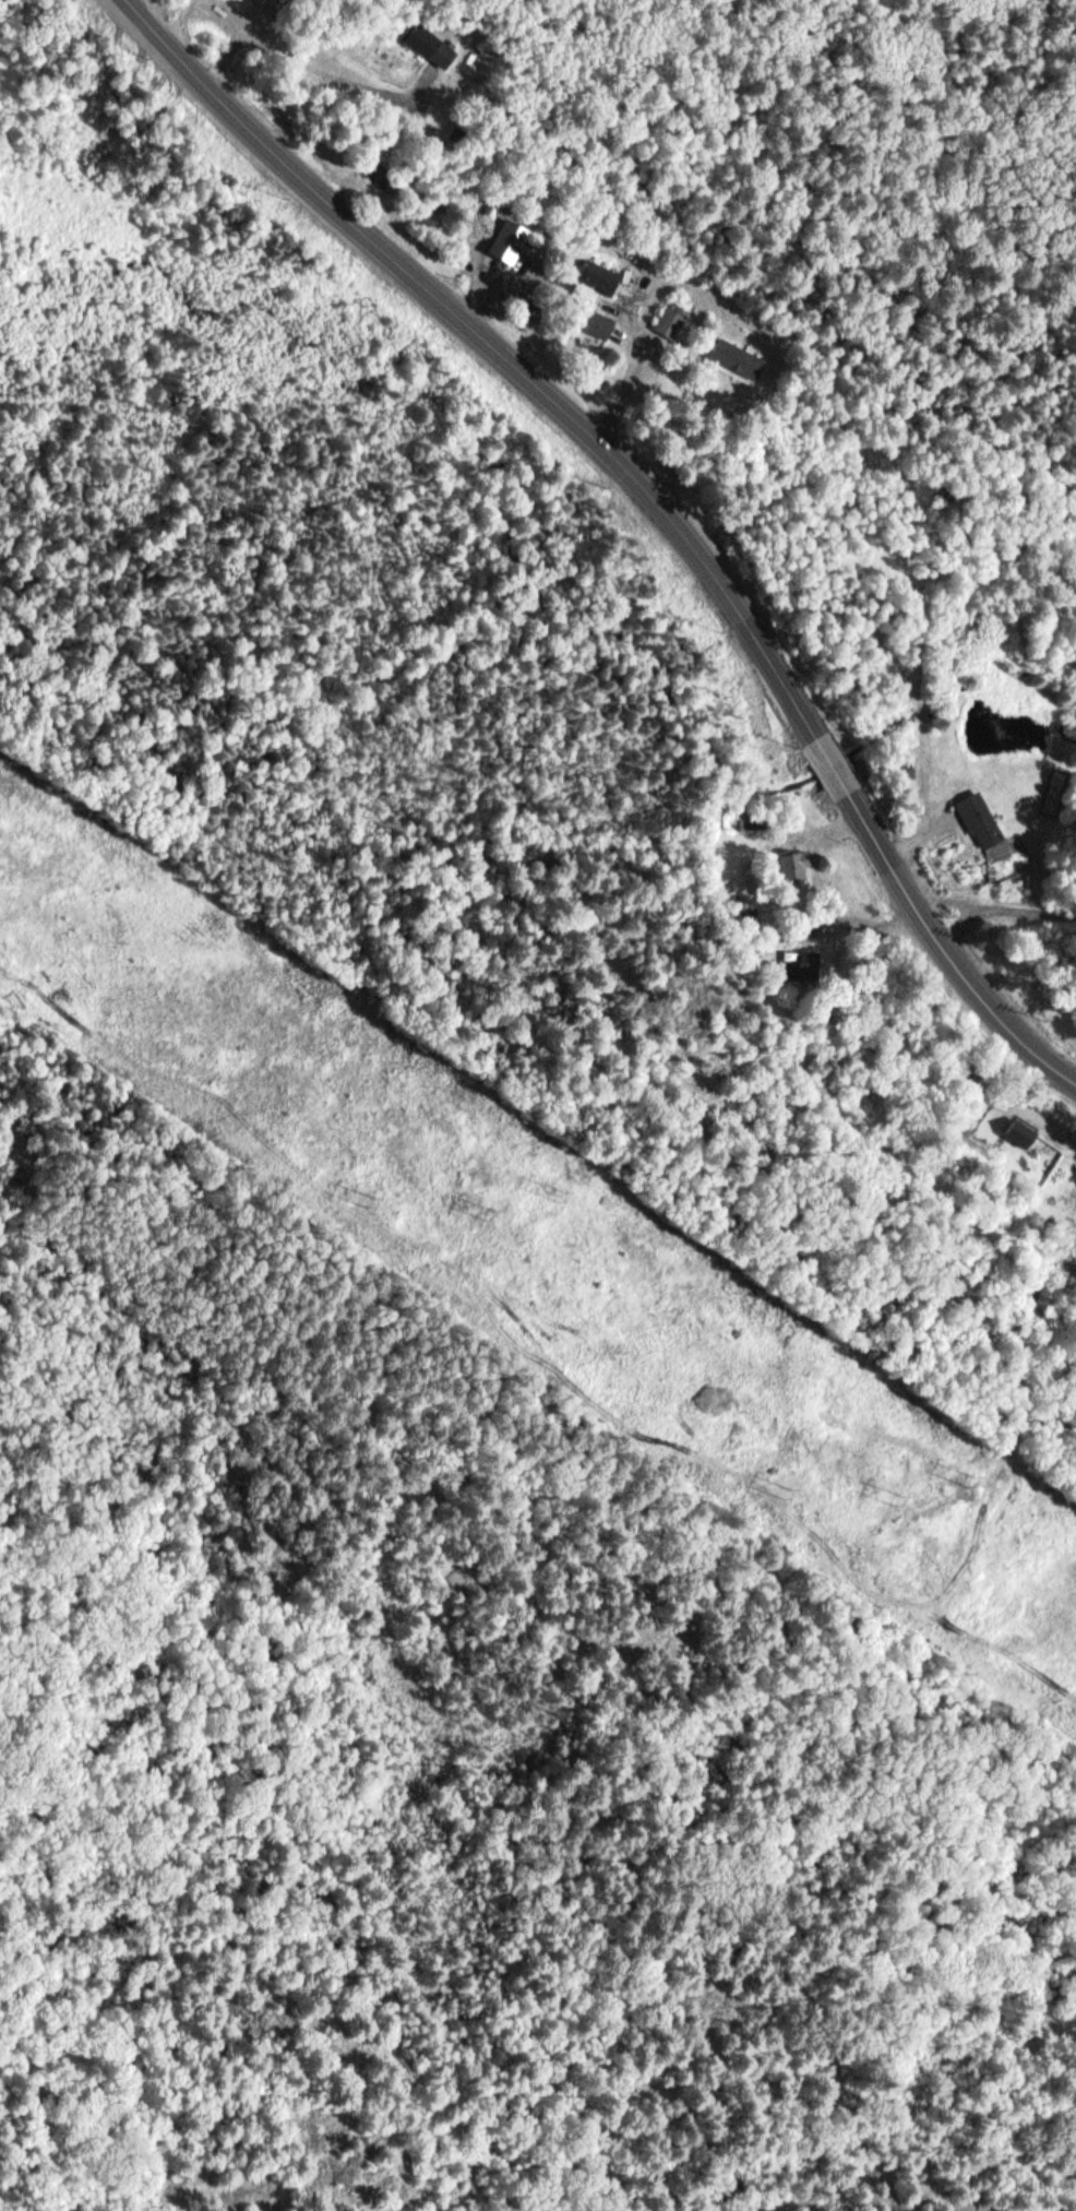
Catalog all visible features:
building: (430, 45)
building: (507, 240)
building: (596, 277)
building: (671, 319)
building: (593, 323)
road: (495, 349)
building: (737, 358)
road: (834, 762)
building: (979, 820)
road: (923, 833)
building: (798, 863)
road: (1000, 906)
road: (949, 944)
building: (809, 963)
building: (1025, 1129)
power tower: (569, 1196)
power tower: (364, 1202)
power tower: (492, 1213)
power tower: (976, 1483)
power tower: (784, 1494)
power tower: (905, 1499)

